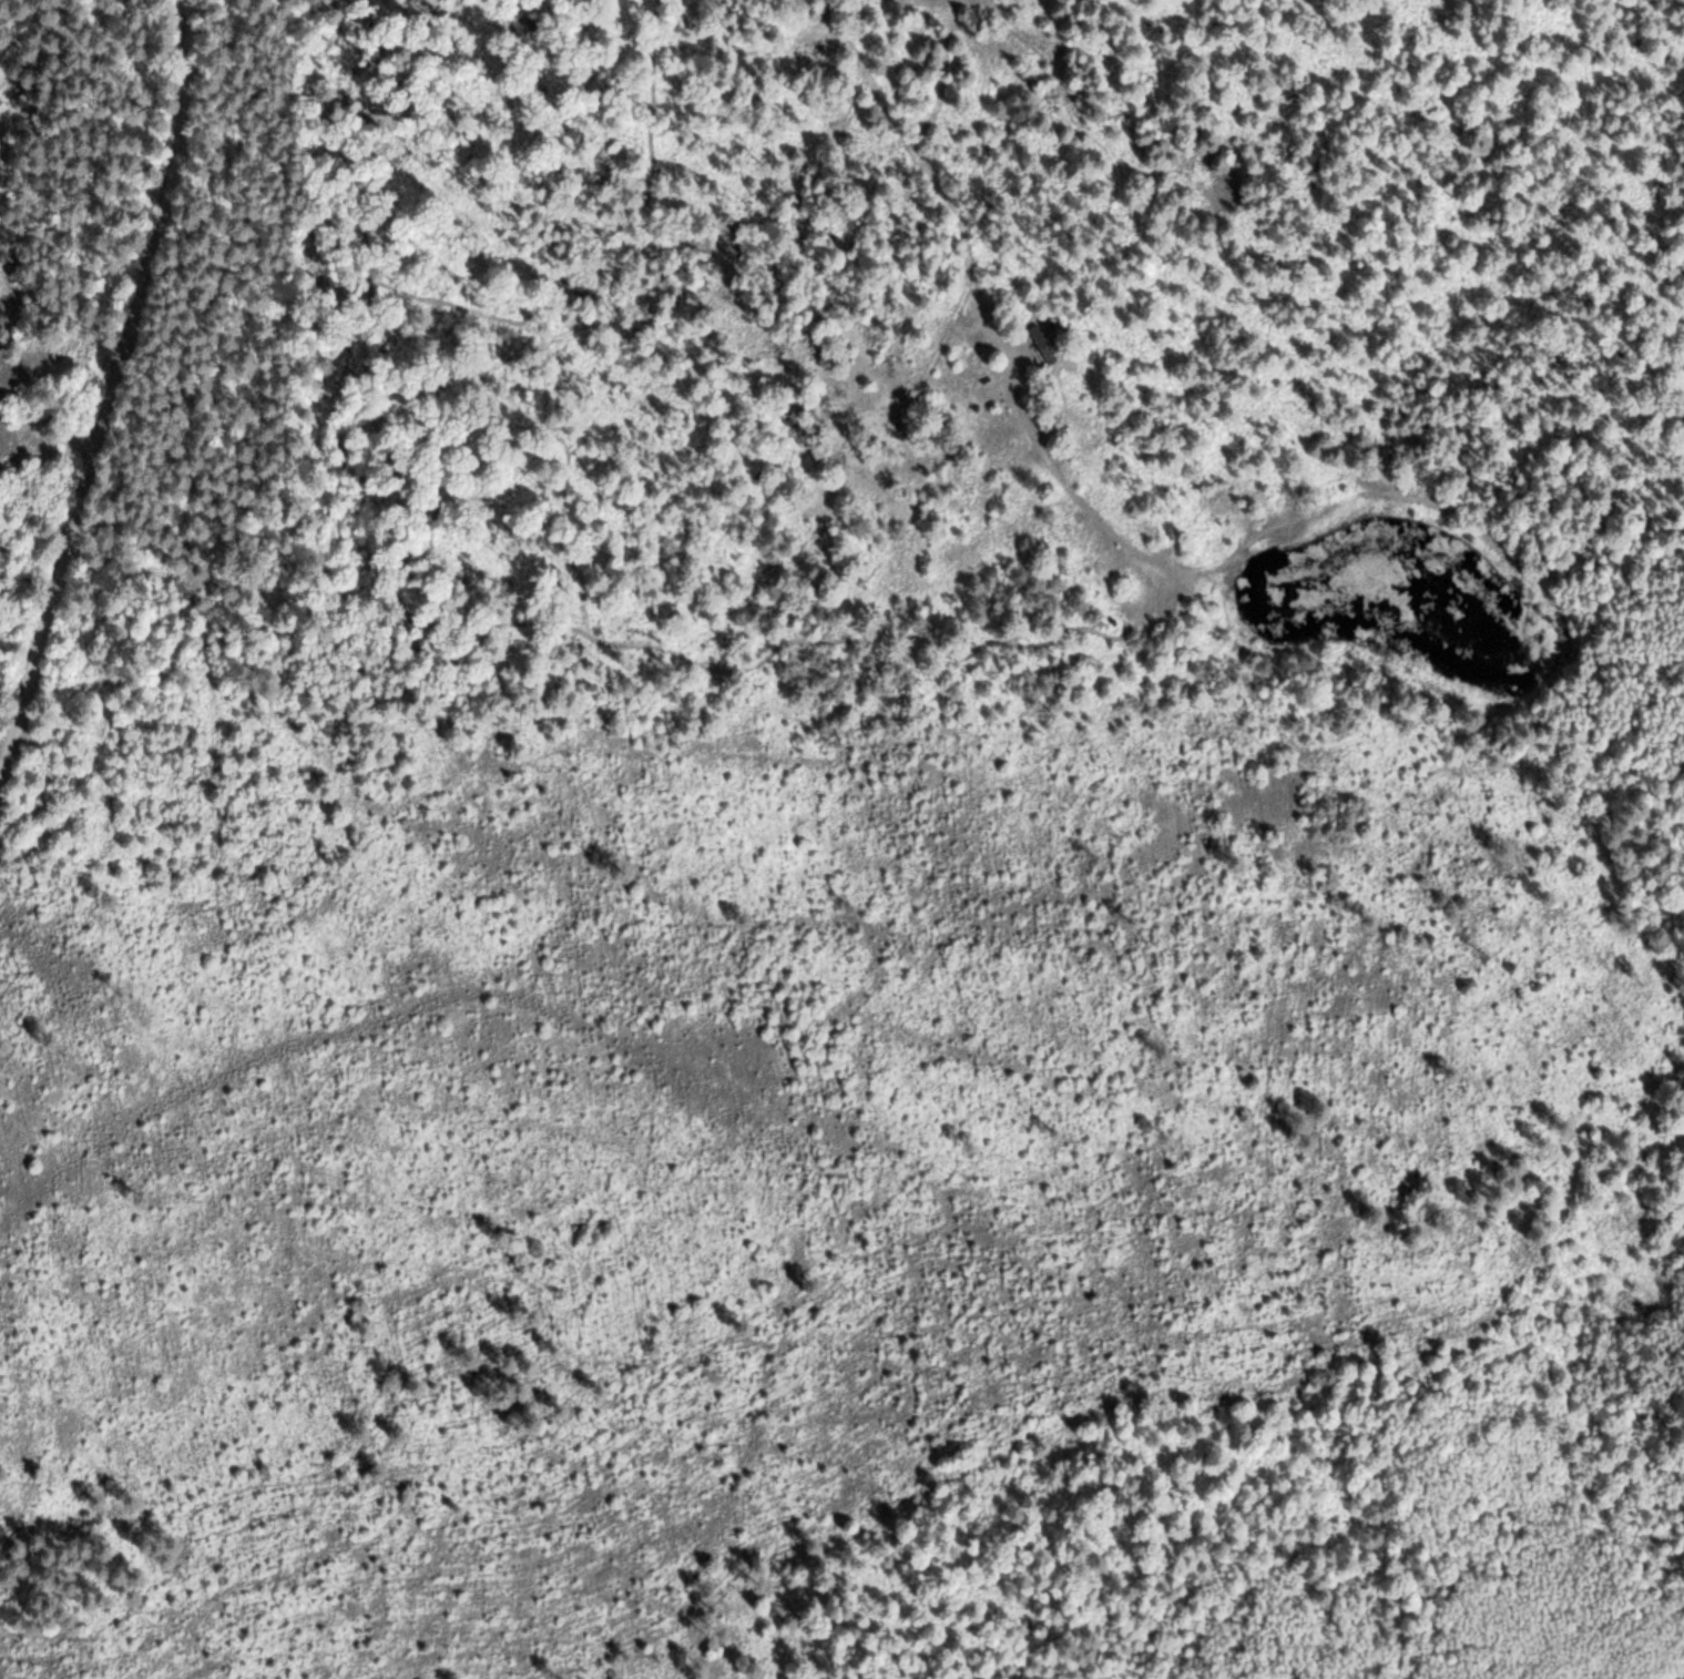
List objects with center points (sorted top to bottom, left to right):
road: (945, 74)
building: (1042, 343)
road: (110, 399)
road: (1133, 547)
road: (845, 712)
road: (1641, 1098)
road: (1377, 1128)

